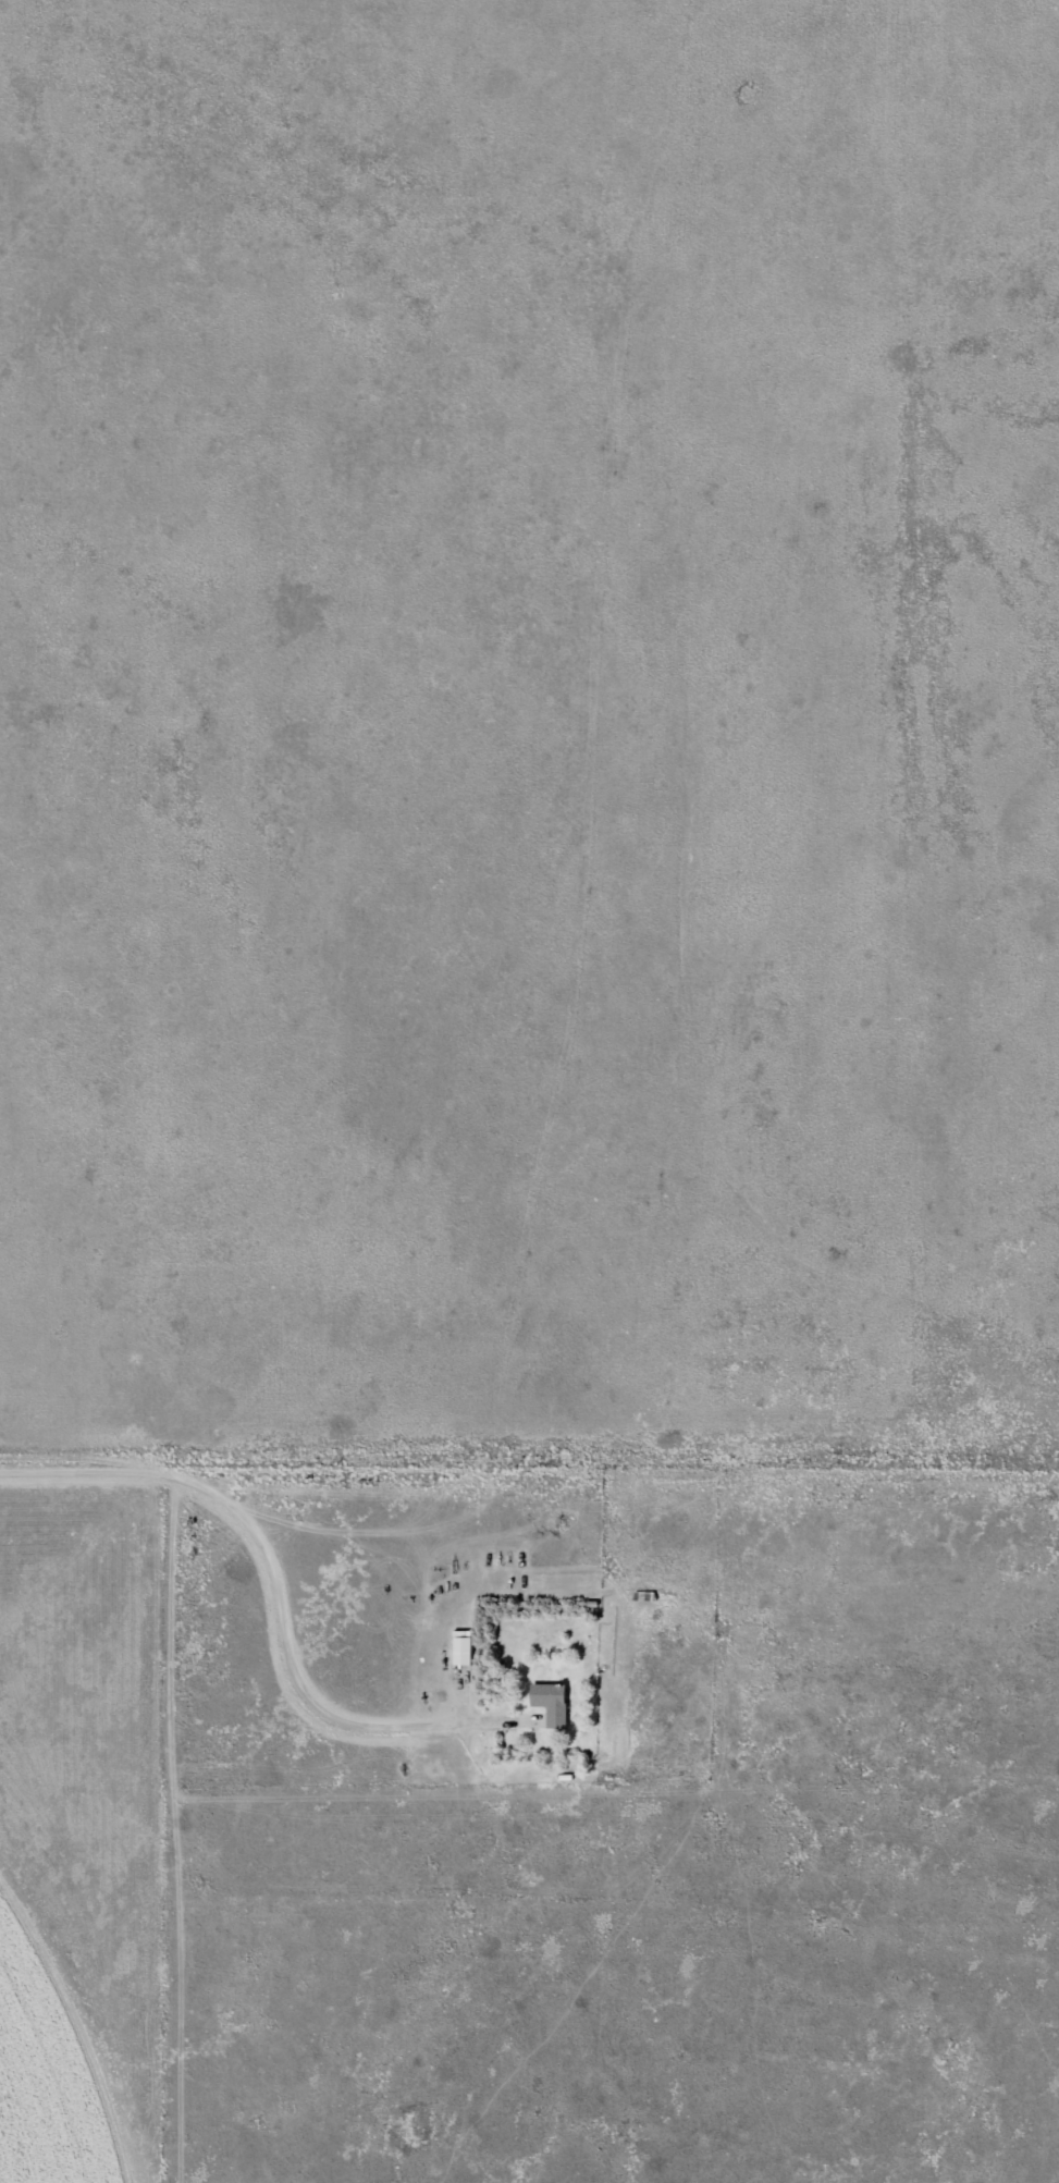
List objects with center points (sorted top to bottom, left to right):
road: (415, 1876)

